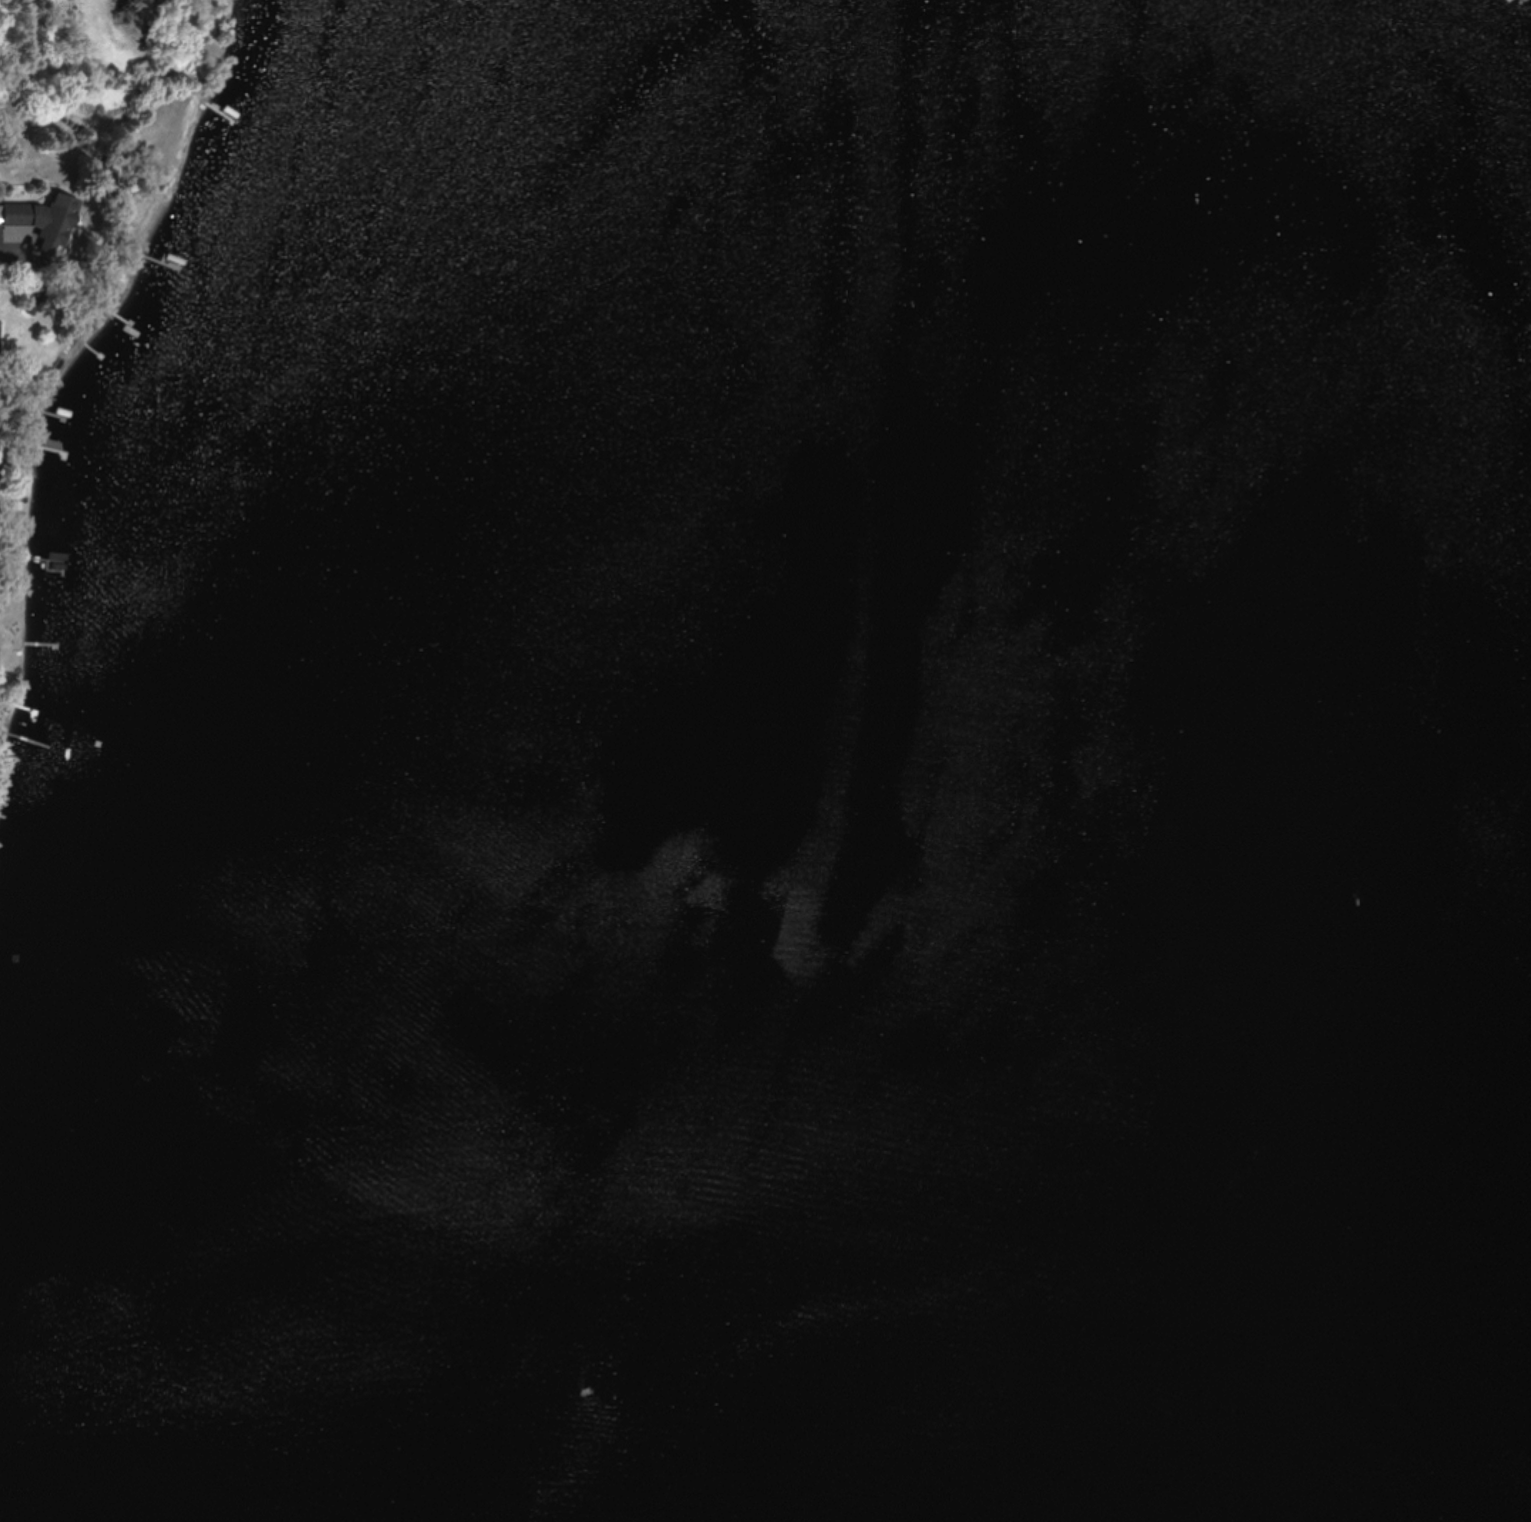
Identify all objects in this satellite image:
building: (44, 221)
road: (8, 262)

